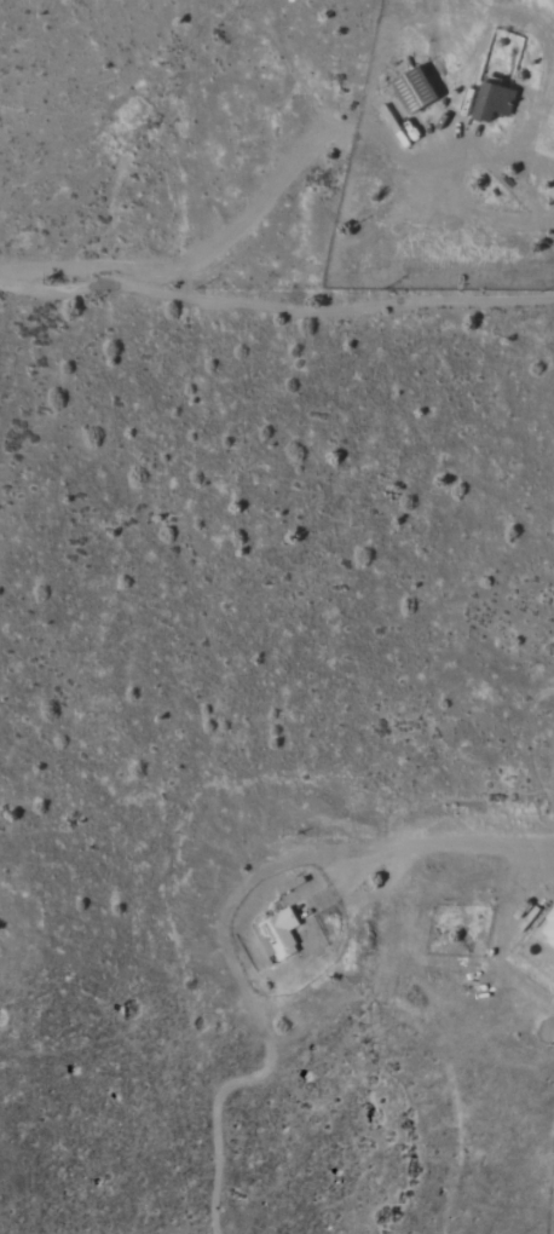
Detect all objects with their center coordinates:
building: (411, 91)
building: (491, 102)
road: (442, 160)
road: (279, 175)
road: (552, 211)
road: (276, 307)
road: (427, 842)
building: (547, 930)
building: (277, 935)

